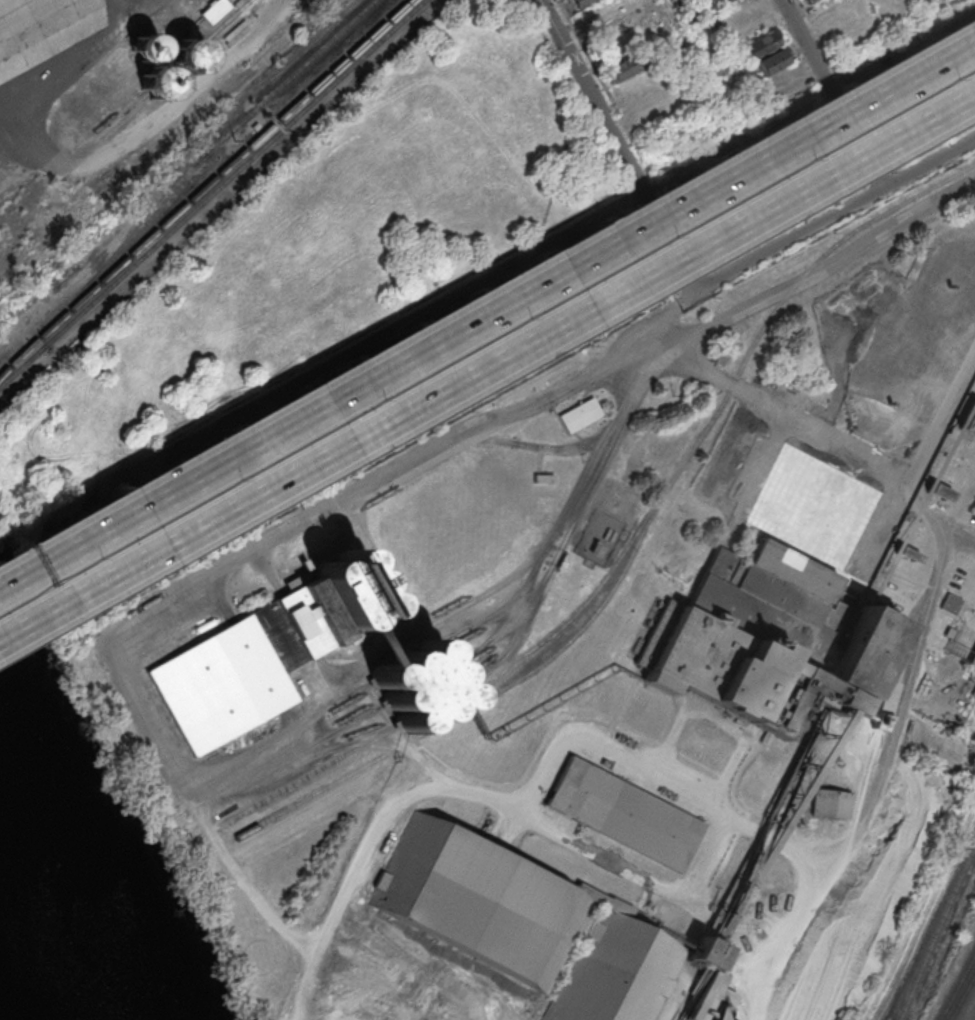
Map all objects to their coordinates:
building: (728, 0)
building: (809, 0)
building: (579, 2)
building: (214, 9)
building: (761, 43)
building: (145, 46)
road: (695, 53)
building: (189, 54)
building: (772, 62)
building: (625, 66)
building: (716, 66)
building: (159, 80)
road: (832, 94)
road: (613, 136)
railway: (201, 159)
railway: (204, 186)
railway: (212, 192)
road: (828, 216)
park: (321, 253)
road: (827, 269)
road: (487, 308)
railway: (21, 353)
road: (487, 366)
building: (583, 413)
railway: (708, 417)
road: (943, 418)
building: (968, 420)
road: (580, 449)
building: (543, 477)
building: (939, 492)
road: (782, 531)
building: (908, 554)
building: (950, 602)
building: (763, 637)
building: (262, 652)
building: (972, 658)
building: (415, 685)
railway: (475, 703)
road: (402, 797)
building: (830, 802)
building: (624, 813)
road: (633, 872)
river: (57, 911)
building: (526, 924)
railway: (936, 929)
railway: (956, 986)
railway: (961, 996)
building: (710, 999)

